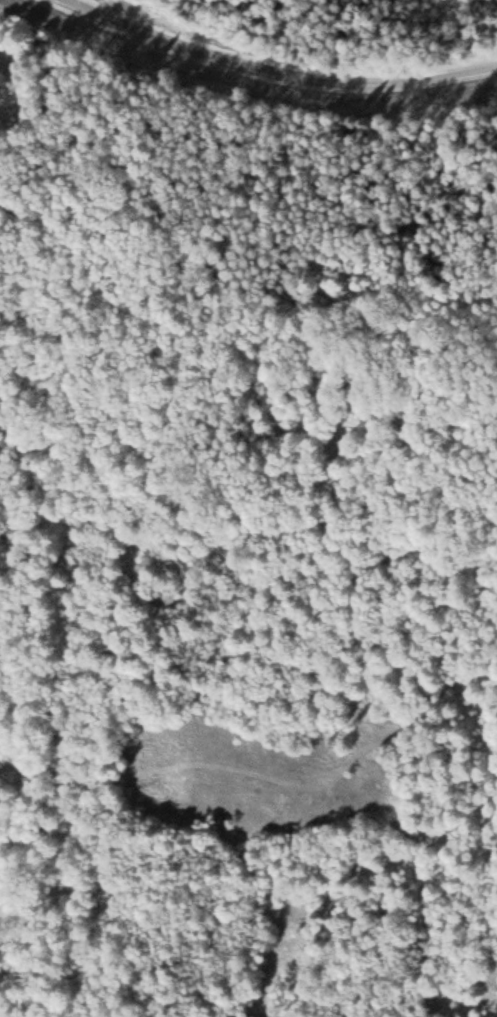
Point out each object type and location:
road: (263, 77)

